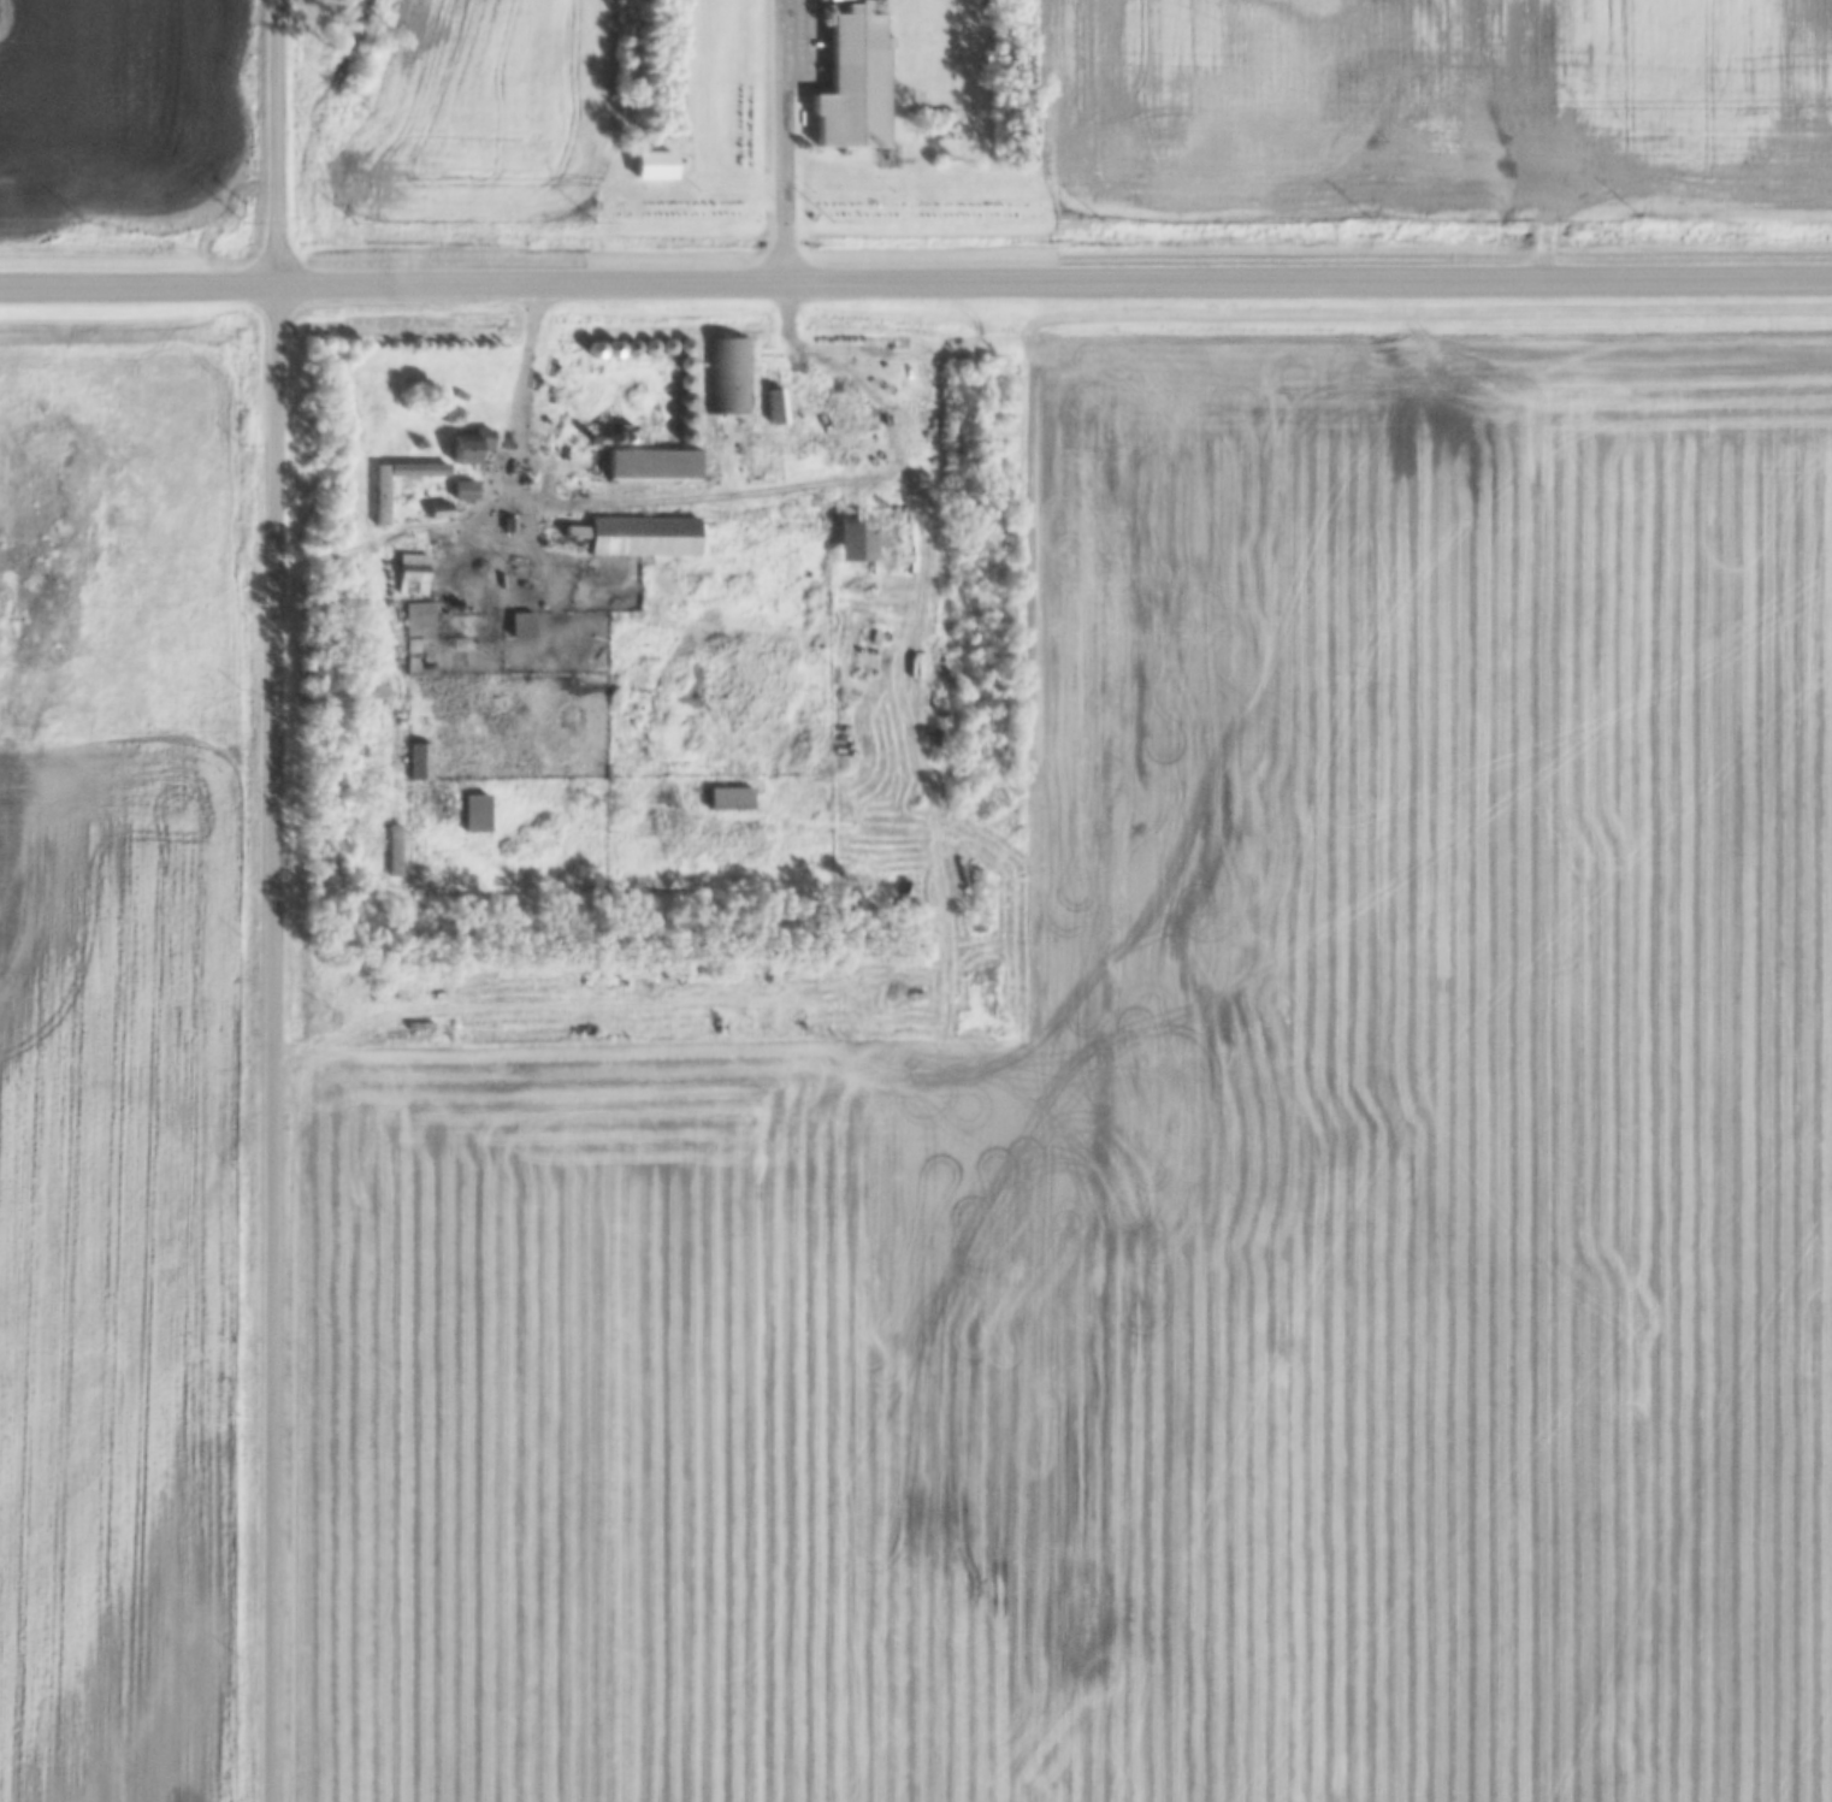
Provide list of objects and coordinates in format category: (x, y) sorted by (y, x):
building: (851, 82)
road: (791, 142)
building: (651, 164)
road: (1057, 282)
road: (141, 285)
building: (725, 376)
road: (534, 385)
building: (468, 444)
building: (651, 466)
building: (379, 501)
building: (642, 537)
building: (852, 539)
building: (410, 574)
building: (521, 574)
building: (519, 625)
building: (416, 639)
road: (384, 651)
building: (416, 761)
building: (727, 798)
building: (473, 813)
building: (392, 850)
road: (278, 900)

